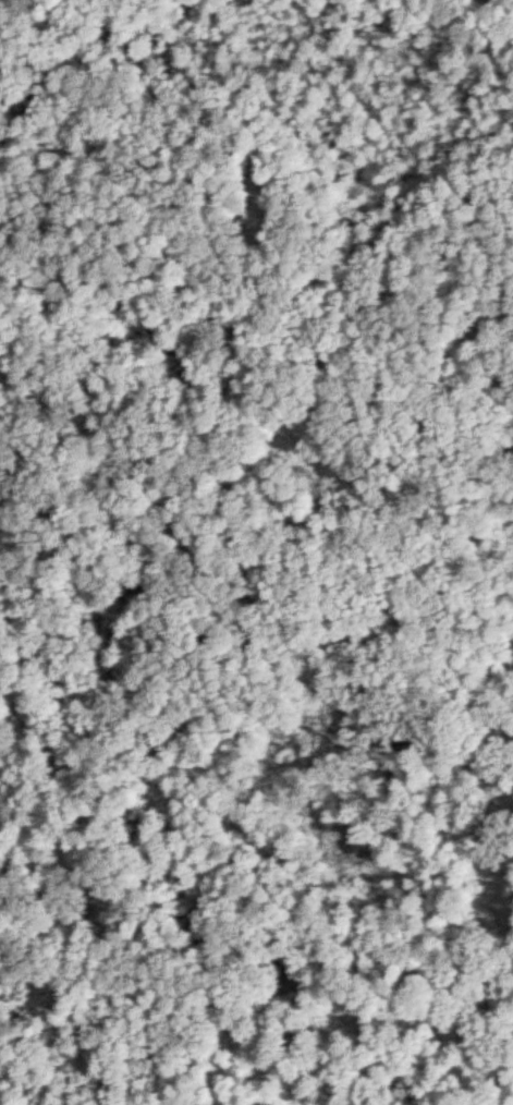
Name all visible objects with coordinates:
road: (121, 865)

